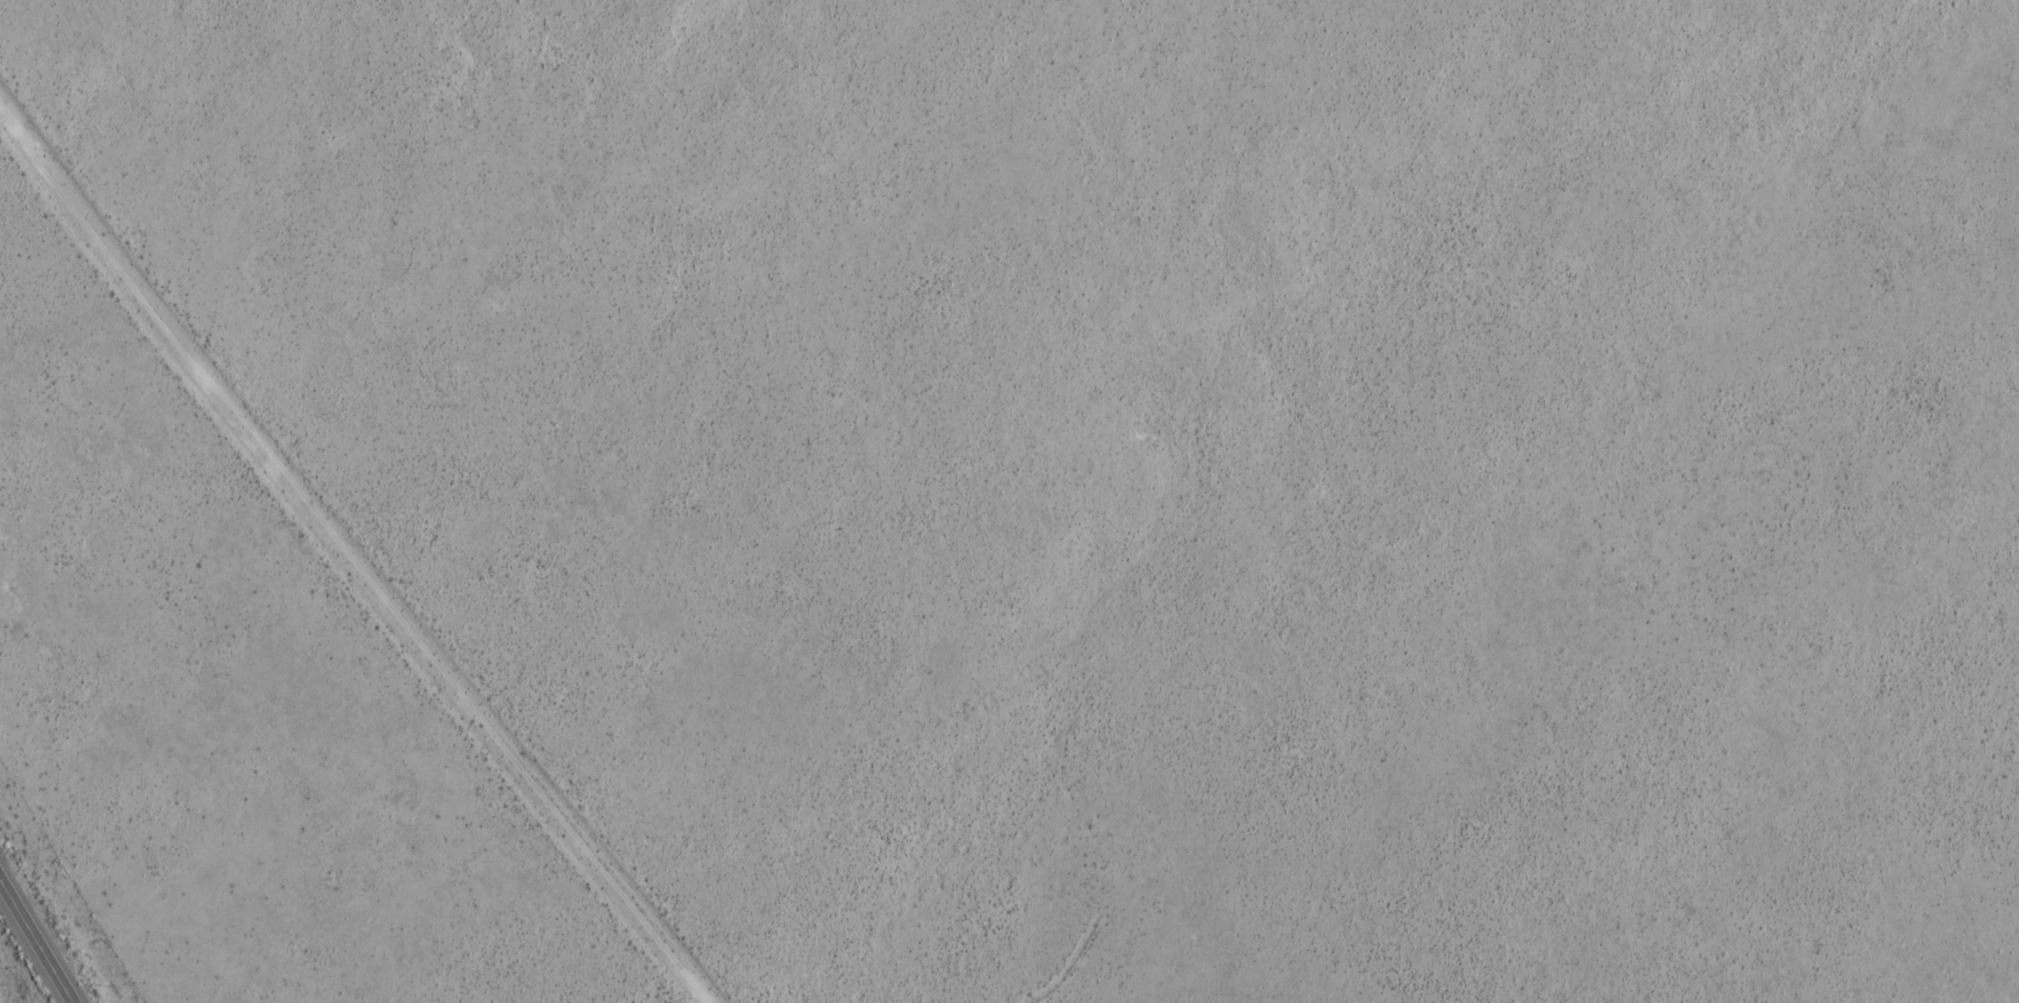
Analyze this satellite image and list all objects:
road: (343, 554)
road: (28, 952)

